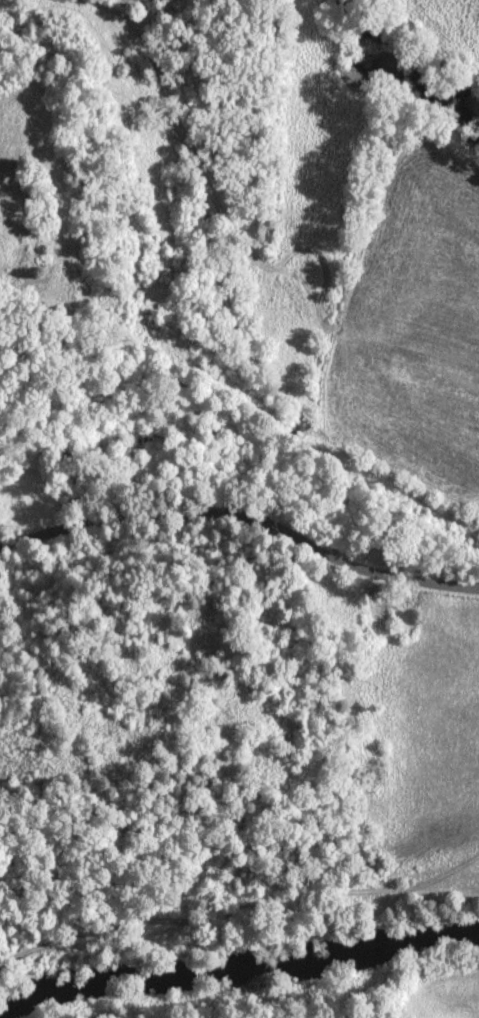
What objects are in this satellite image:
road: (242, 517)

